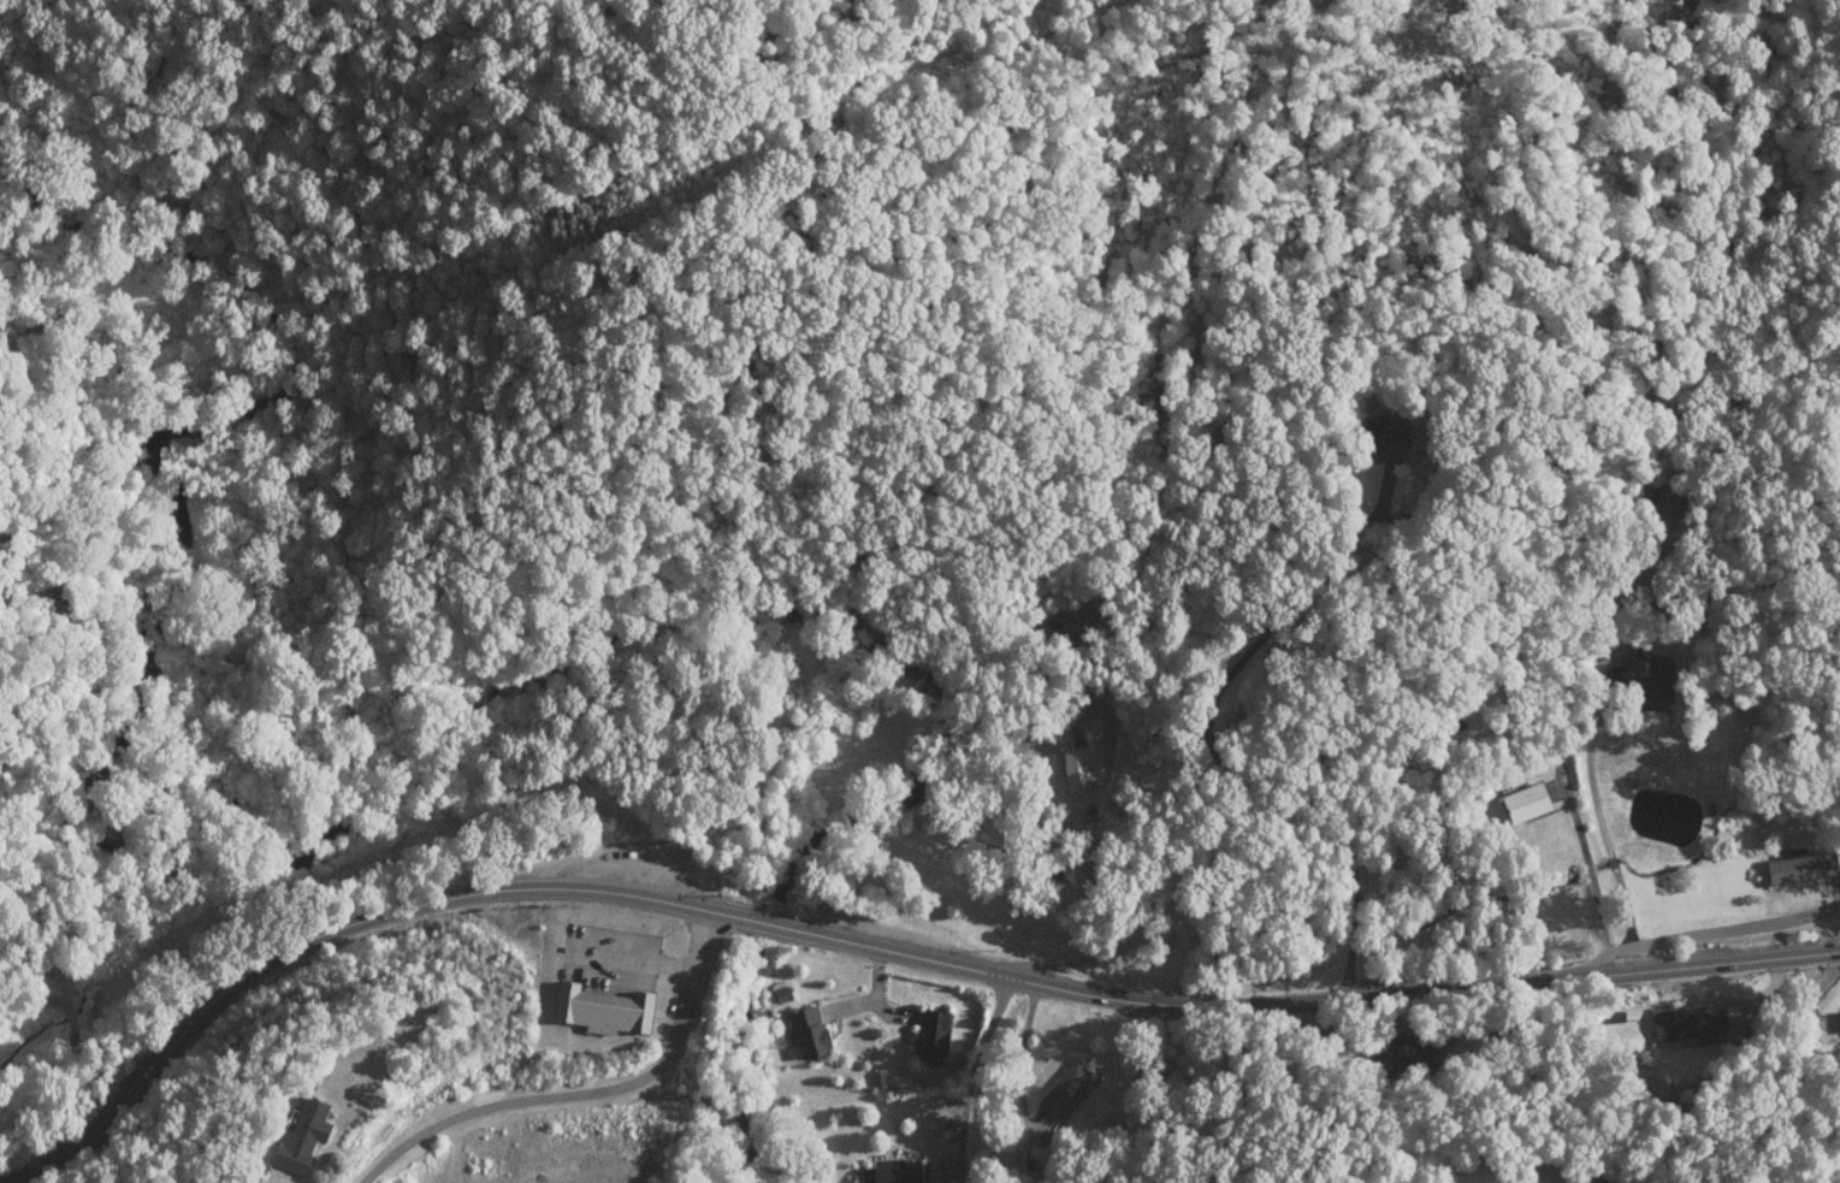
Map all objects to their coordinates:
building: (1382, 443)
building: (1652, 687)
building: (1073, 770)
building: (1522, 803)
road: (1339, 816)
road: (1137, 850)
building: (1799, 866)
road: (1699, 935)
road: (882, 947)
building: (780, 994)
building: (600, 1010)
building: (1839, 1019)
building: (1686, 1024)
building: (805, 1031)
building: (930, 1035)
building: (1409, 1051)
road: (971, 1077)
road: (579, 1088)
building: (1063, 1088)
building: (300, 1136)
building: (887, 1172)

